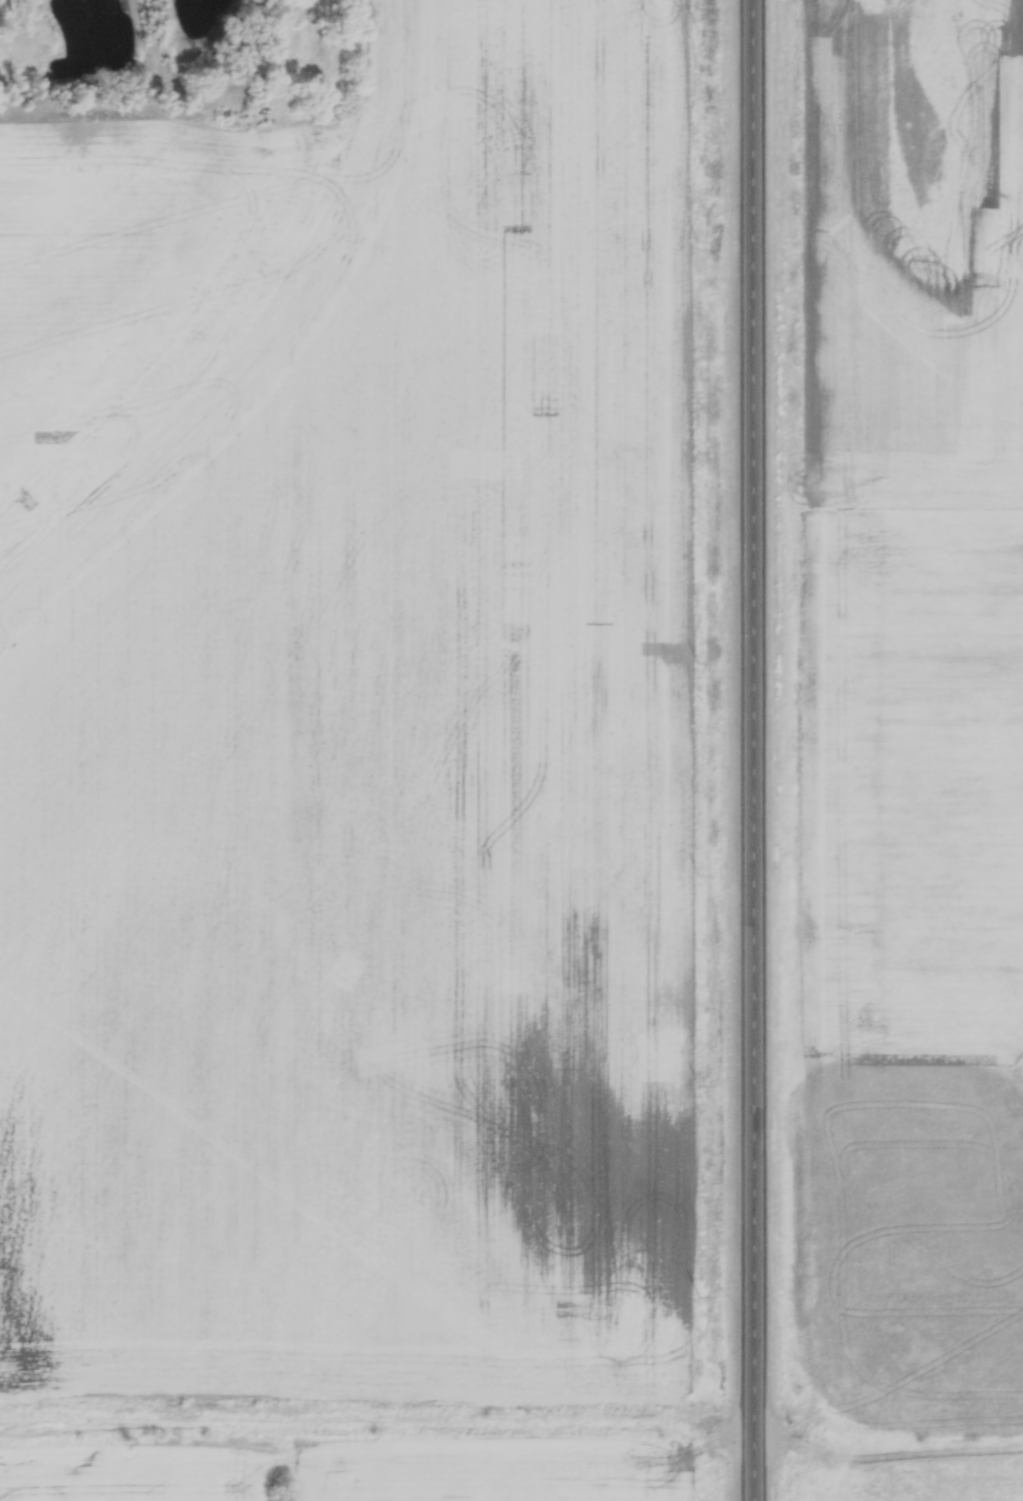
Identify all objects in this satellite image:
road: (752, 750)

